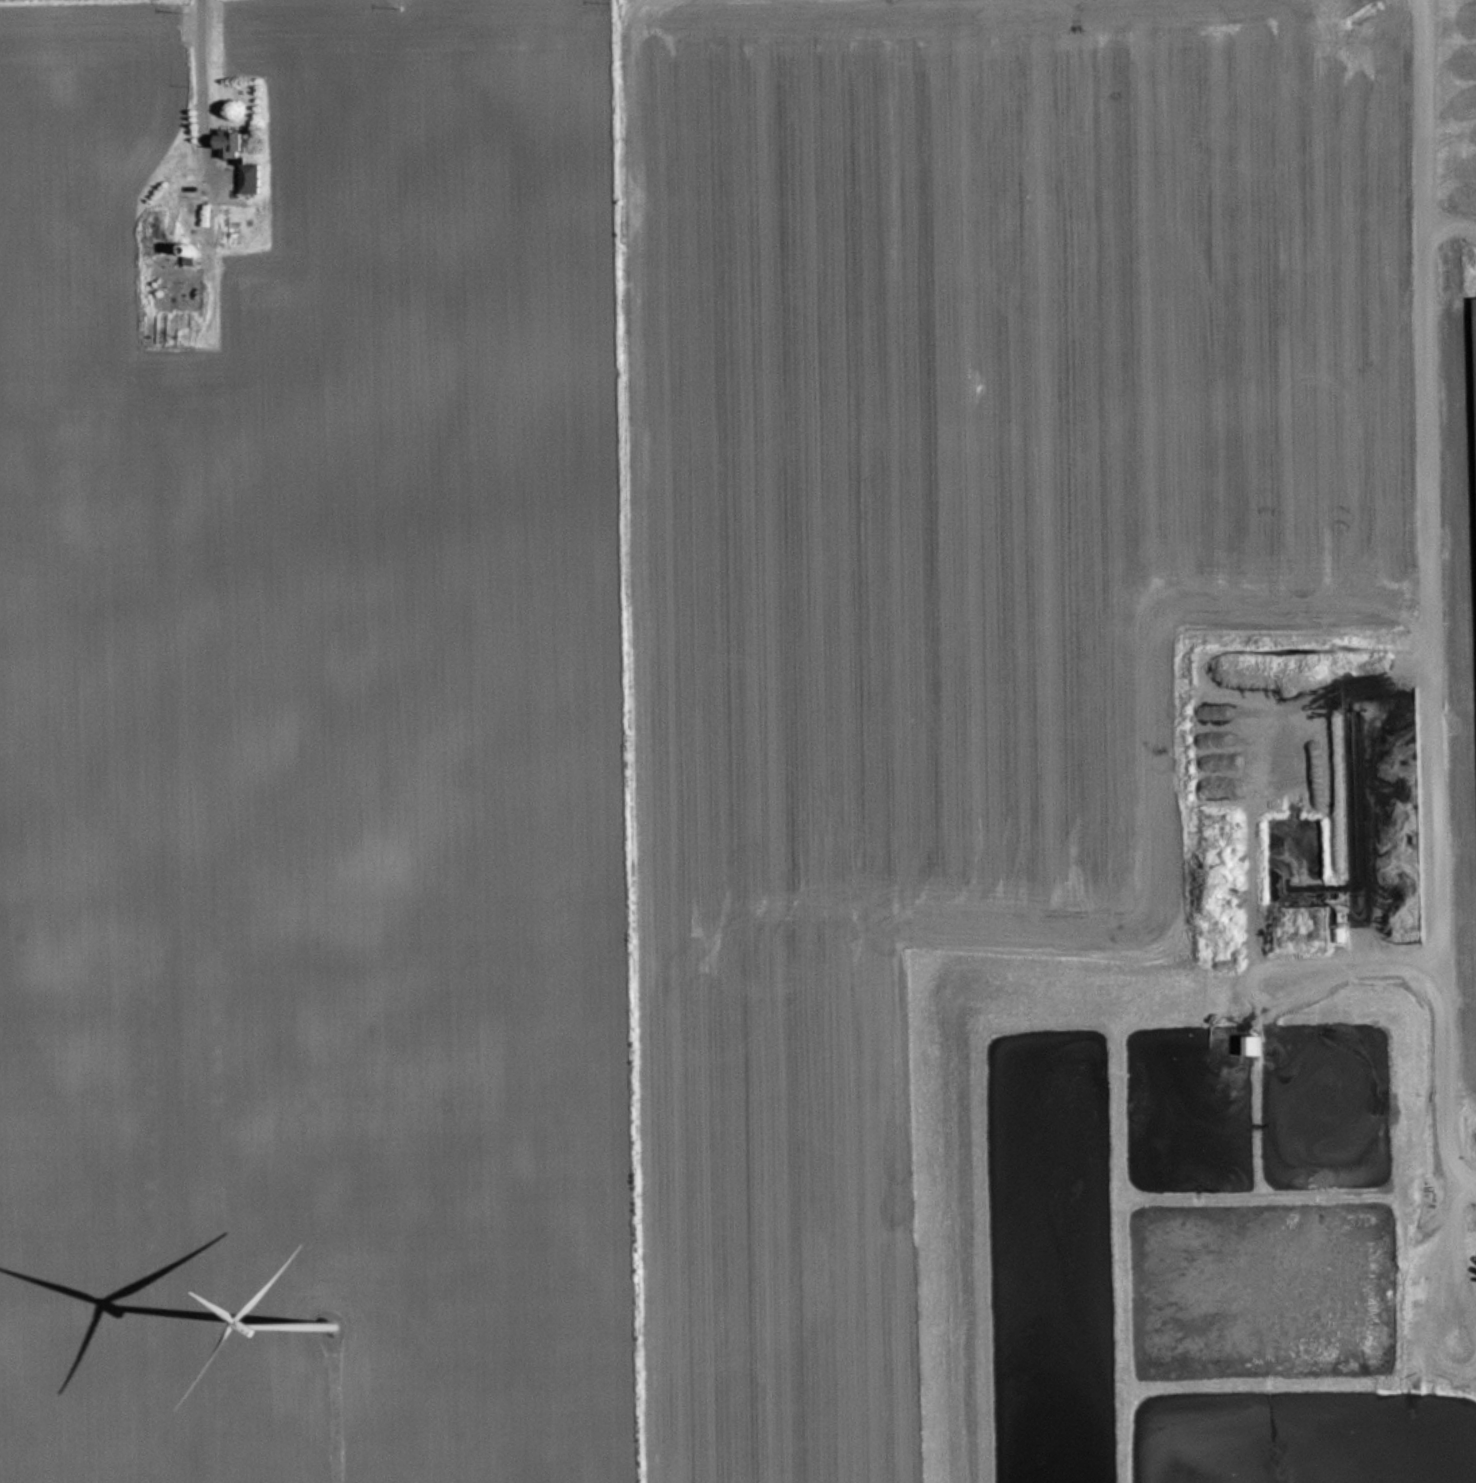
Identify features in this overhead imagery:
building: (232, 144)
building: (250, 178)
building: (224, 226)
building: (168, 329)
building: (1336, 912)
wind turbine: (325, 1322)
road: (339, 1433)

